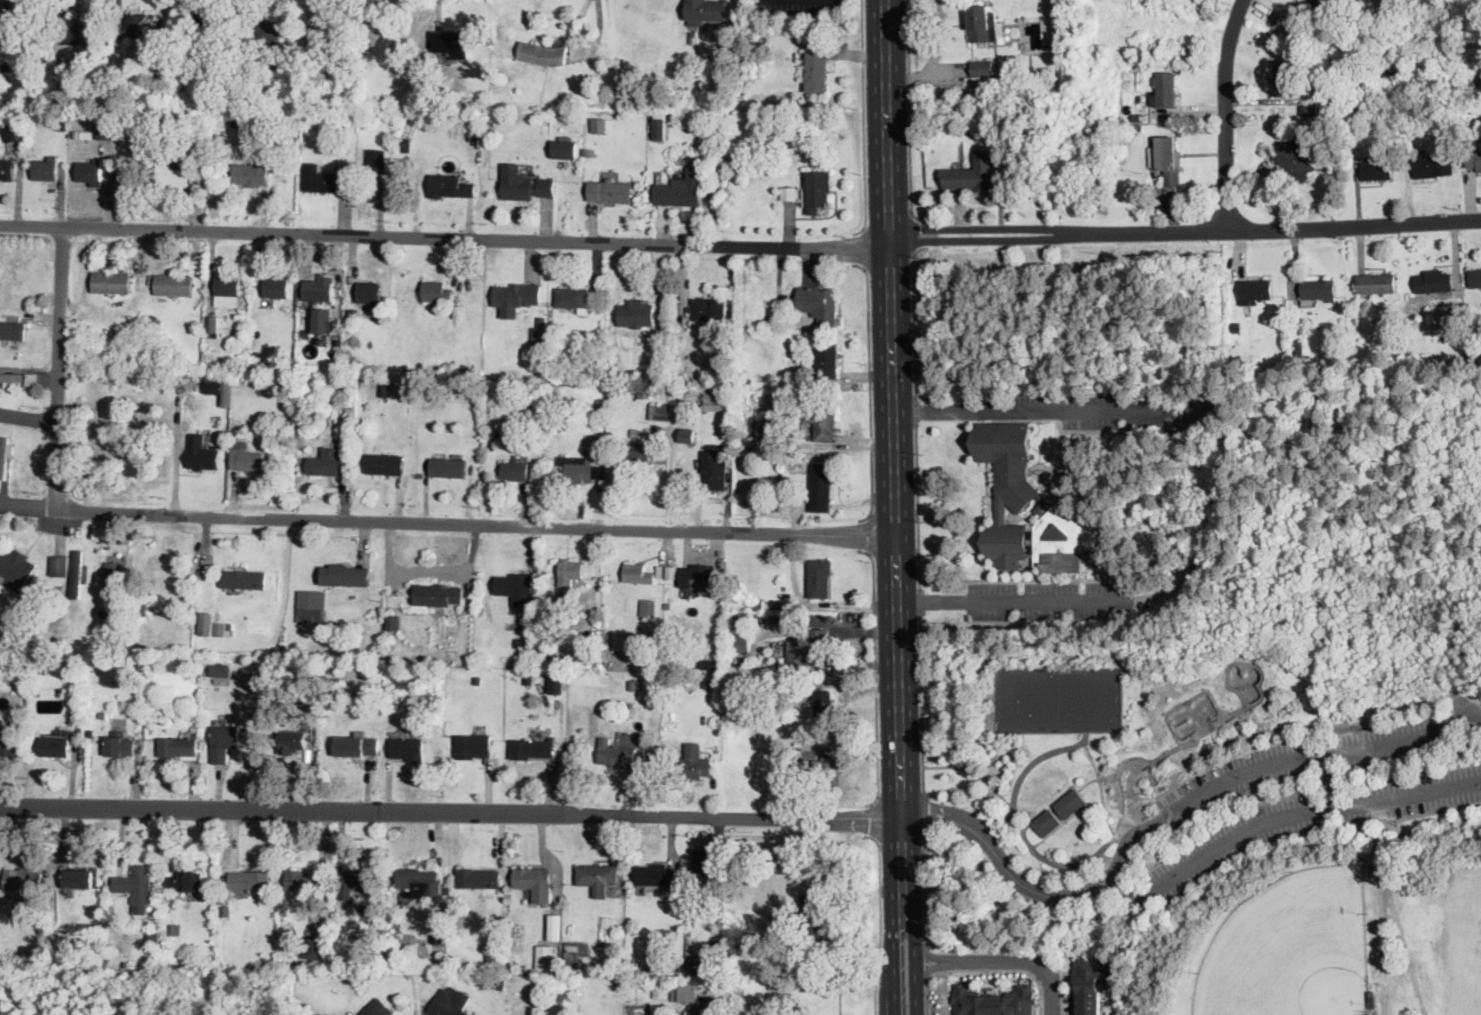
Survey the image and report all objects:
building: (705, 11)
building: (1308, 11)
building: (209, 17)
building: (983, 24)
building: (144, 25)
building: (73, 27)
building: (16, 29)
building: (343, 32)
building: (267, 35)
building: (692, 37)
building: (452, 43)
building: (1050, 44)
road: (583, 50)
building: (543, 54)
building: (736, 67)
building: (982, 68)
building: (1030, 71)
building: (816, 72)
building: (1285, 79)
building: (442, 80)
building: (747, 81)
building: (430, 82)
building: (294, 86)
building: (1165, 89)
building: (1475, 90)
building: (1305, 110)
road: (1226, 114)
road: (910, 116)
building: (430, 119)
building: (426, 120)
road: (864, 120)
building: (245, 123)
building: (184, 125)
building: (599, 125)
building: (1280, 127)
building: (1137, 128)
building: (660, 129)
building: (105, 131)
building: (10, 133)
building: (86, 135)
building: (406, 145)
building: (565, 149)
building: (588, 152)
building: (376, 159)
building: (1166, 159)
building: (1295, 160)
building: (1474, 160)
building: (392, 161)
building: (785, 161)
building: (1432, 166)
building: (46, 169)
building: (7, 170)
building: (1377, 170)
building: (90, 172)
building: (253, 172)
building: (176, 173)
building: (973, 174)
building: (323, 180)
building: (524, 184)
building: (450, 187)
building: (817, 191)
building: (611, 192)
building: (676, 193)
building: (788, 193)
road: (980, 229)
road: (1283, 229)
road: (914, 233)
road: (439, 237)
road: (982, 240)
road: (862, 246)
building: (1475, 278)
building: (1433, 282)
building: (111, 283)
building: (1375, 284)
building: (173, 285)
building: (275, 288)
building: (318, 289)
building: (1318, 289)
building: (1254, 290)
building: (227, 291)
building: (436, 291)
building: (369, 294)
building: (516, 297)
building: (572, 299)
building: (592, 299)
building: (764, 303)
building: (819, 305)
building: (709, 309)
building: (637, 313)
building: (352, 314)
road: (912, 315)
building: (323, 321)
building: (777, 321)
building: (213, 323)
building: (1236, 327)
building: (12, 332)
building: (539, 332)
building: (307, 337)
building: (538, 350)
building: (1296, 351)
building: (1333, 355)
building: (1474, 359)
building: (1244, 360)
building: (827, 361)
road: (58, 367)
building: (1336, 370)
building: (464, 371)
building: (680, 377)
building: (11, 378)
building: (616, 378)
building: (32, 379)
building: (538, 379)
building: (578, 380)
building: (747, 380)
building: (11, 386)
building: (213, 388)
road: (868, 389)
building: (385, 392)
building: (615, 394)
building: (633, 395)
building: (643, 395)
building: (710, 397)
road: (903, 406)
building: (601, 407)
building: (714, 407)
road: (1090, 407)
road: (914, 408)
road: (922, 408)
building: (349, 412)
building: (660, 412)
road: (28, 418)
building: (821, 419)
building: (557, 420)
building: (758, 426)
building: (280, 430)
building: (635, 433)
building: (687, 436)
building: (9, 451)
building: (638, 453)
building: (202, 454)
building: (3, 455)
building: (247, 460)
building: (328, 463)
building: (853, 463)
building: (386, 464)
building: (447, 467)
building: (713, 467)
building: (579, 468)
building: (515, 471)
building: (599, 473)
building: (419, 476)
building: (1, 484)
building: (821, 487)
building: (1020, 495)
road: (916, 504)
building: (769, 506)
road: (884, 507)
road: (892, 514)
road: (452, 523)
road: (1207, 524)
road: (868, 533)
building: (1009, 544)
building: (1164, 547)
road: (892, 550)
building: (58, 566)
building: (1177, 567)
building: (15, 568)
road: (428, 569)
building: (570, 572)
building: (659, 572)
building: (671, 572)
building: (1182, 572)
building: (638, 574)
building: (77, 575)
building: (345, 576)
building: (696, 576)
building: (819, 578)
building: (113, 580)
building: (244, 580)
building: (516, 588)
building: (783, 588)
building: (548, 590)
building: (58, 592)
building: (438, 595)
road: (919, 599)
road: (1048, 600)
road: (936, 601)
building: (144, 605)
building: (311, 605)
building: (667, 606)
building: (759, 606)
building: (648, 608)
building: (553, 612)
building: (104, 614)
building: (755, 617)
building: (204, 622)
building: (392, 623)
building: (221, 628)
building: (740, 633)
building: (521, 643)
building: (810, 648)
building: (428, 654)
building: (731, 666)
building: (221, 669)
building: (738, 669)
building: (805, 670)
road: (873, 675)
building: (257, 678)
building: (528, 680)
building: (477, 681)
building: (705, 684)
building: (555, 685)
building: (634, 685)
building: (396, 694)
building: (273, 695)
park: (1057, 697)
building: (822, 698)
road: (920, 700)
park: (1216, 704)
road: (1472, 713)
building: (103, 715)
building: (152, 719)
building: (160, 719)
building: (80, 728)
road: (1279, 728)
building: (90, 732)
building: (291, 741)
building: (223, 742)
building: (8, 744)
building: (797, 744)
building: (120, 745)
building: (178, 746)
building: (357, 746)
building: (472, 746)
building: (55, 747)
building: (531, 748)
building: (408, 749)
road: (1163, 753)
building: (617, 756)
road: (1290, 756)
park: (1243, 759)
parking lot: (1298, 763)
building: (691, 764)
road: (974, 771)
building: (826, 772)
road: (1331, 777)
road: (1094, 778)
road: (1100, 787)
building: (1070, 804)
road: (925, 814)
road: (455, 815)
road: (1282, 815)
road: (1414, 815)
road: (873, 819)
parking lot: (1309, 821)
building: (1047, 823)
road: (1046, 858)
building: (705, 862)
road: (1085, 870)
building: (655, 876)
building: (596, 877)
building: (79, 879)
building: (478, 879)
building: (248, 881)
building: (359, 881)
building: (418, 881)
building: (23, 882)
building: (187, 882)
building: (137, 883)
building: (305, 883)
building: (535, 883)
road: (1021, 883)
road: (924, 885)
road: (1103, 885)
road: (1390, 887)
road: (913, 888)
building: (691, 902)
building: (365, 908)
road: (1131, 912)
building: (225, 915)
building: (72, 917)
building: (813, 919)
building: (749, 920)
building: (40, 921)
building: (18, 922)
road: (881, 922)
building: (327, 927)
building: (174, 929)
building: (436, 934)
building: (310, 948)
park: (1290, 948)
park: (1464, 949)
building: (575, 952)
building: (543, 958)
road: (926, 960)
road: (1004, 961)
building: (441, 962)
building: (655, 962)
building: (702, 963)
building: (521, 966)
building: (676, 968)
road: (983, 968)
building: (515, 972)
building: (1090, 982)
building: (501, 985)
building: (720, 985)
road: (915, 988)
building: (676, 991)
building: (740, 992)
building: (560, 996)
building: (1372, 997)
building: (994, 1001)
building: (450, 1002)
building: (376, 1008)

